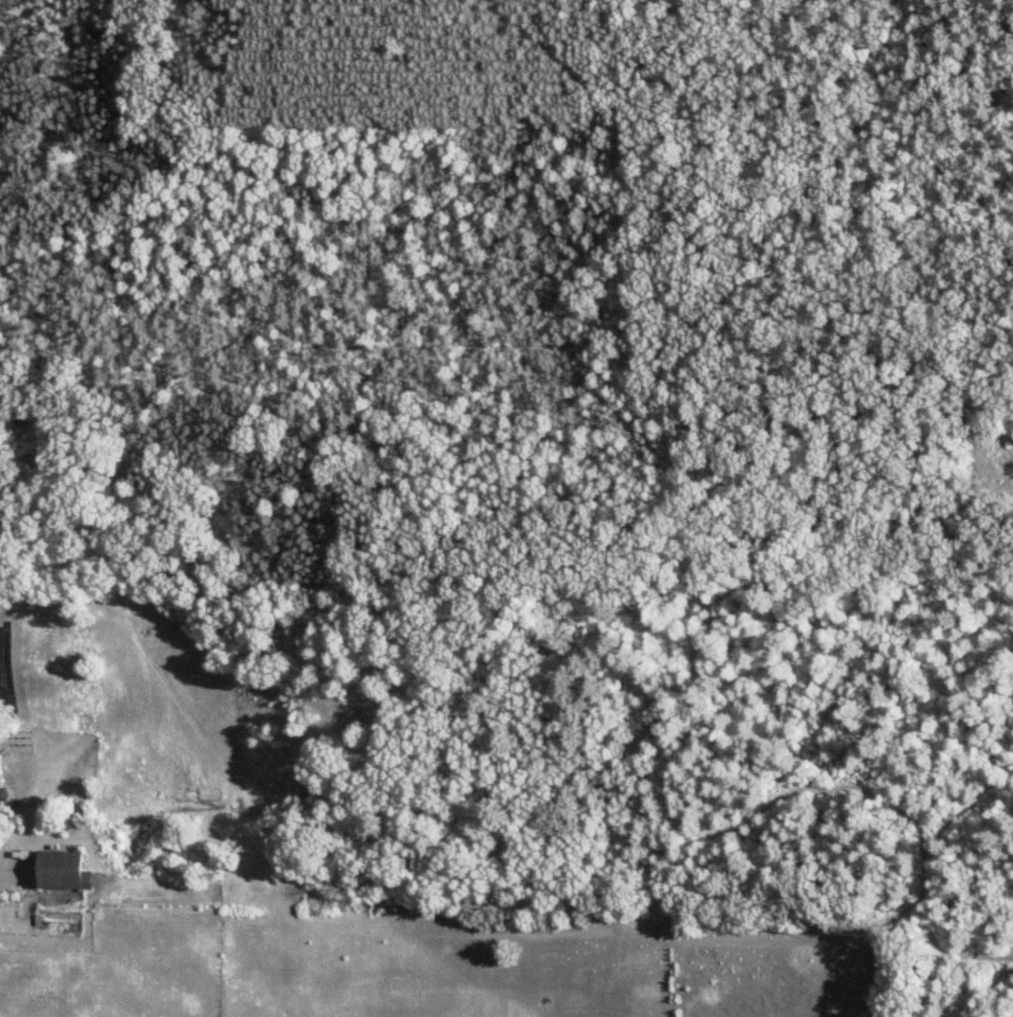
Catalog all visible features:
road: (198, 333)
road: (623, 362)
building: (2, 784)
building: (64, 870)

